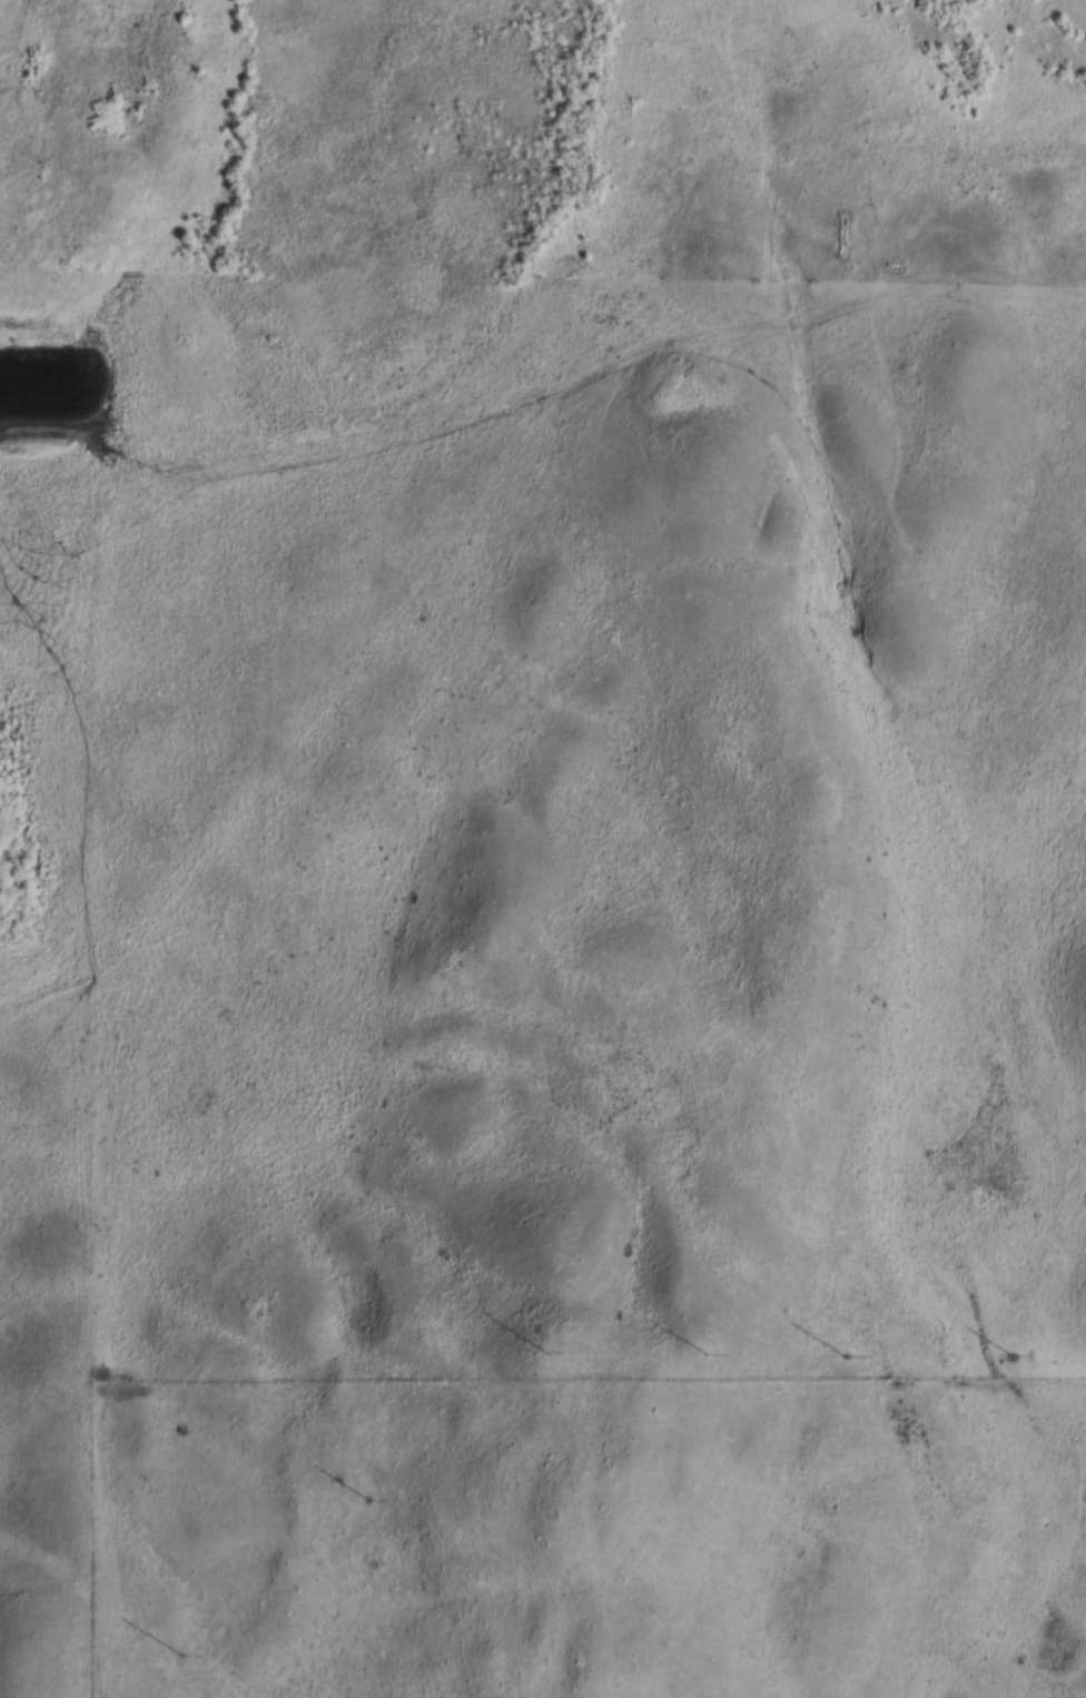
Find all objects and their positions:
power tower: (1028, 1362)

